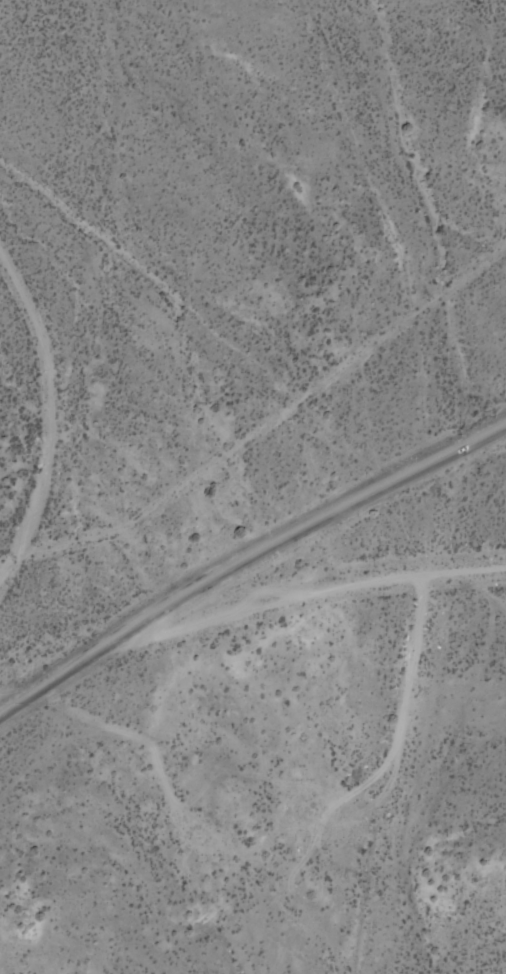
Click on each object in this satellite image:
road: (84, 375)
road: (248, 562)
road: (466, 571)

